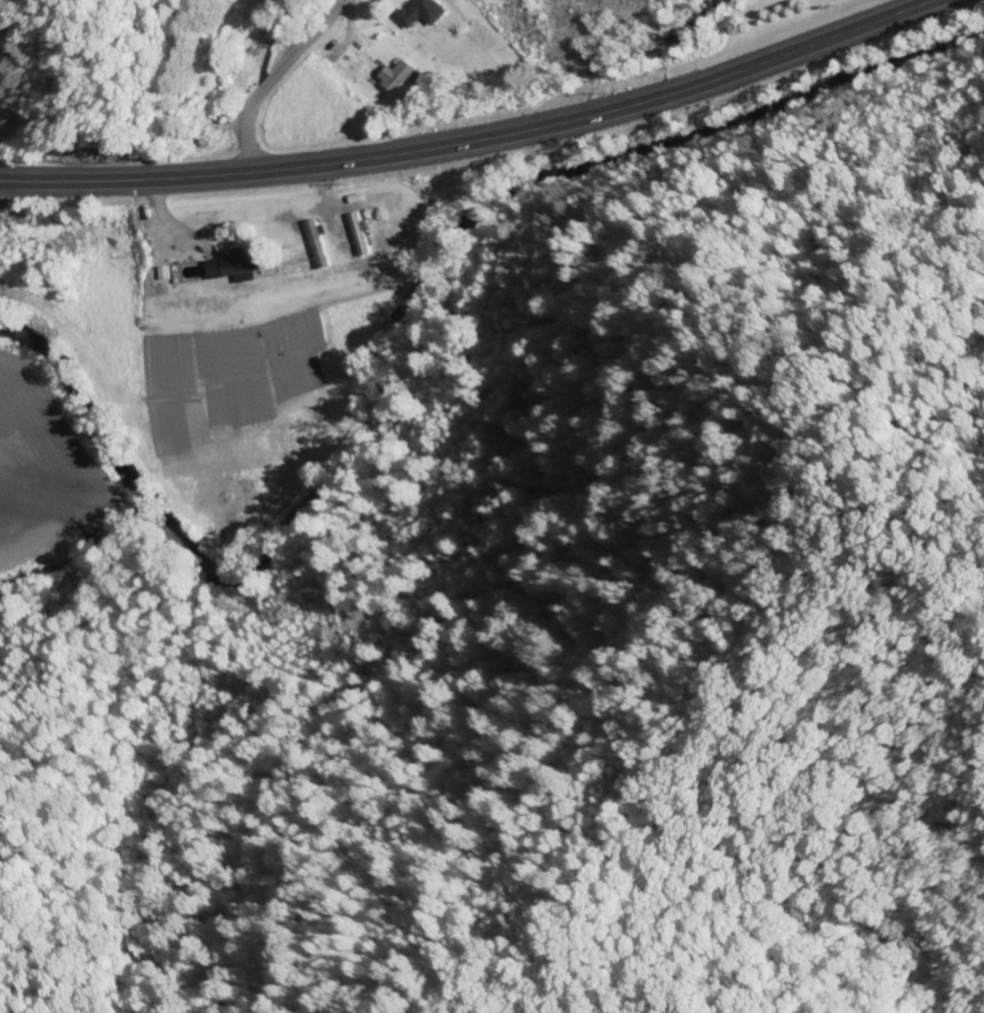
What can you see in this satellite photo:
building: (413, 13)
road: (272, 75)
building: (393, 76)
road: (479, 140)
road: (4, 187)
building: (319, 243)
building: (239, 264)

